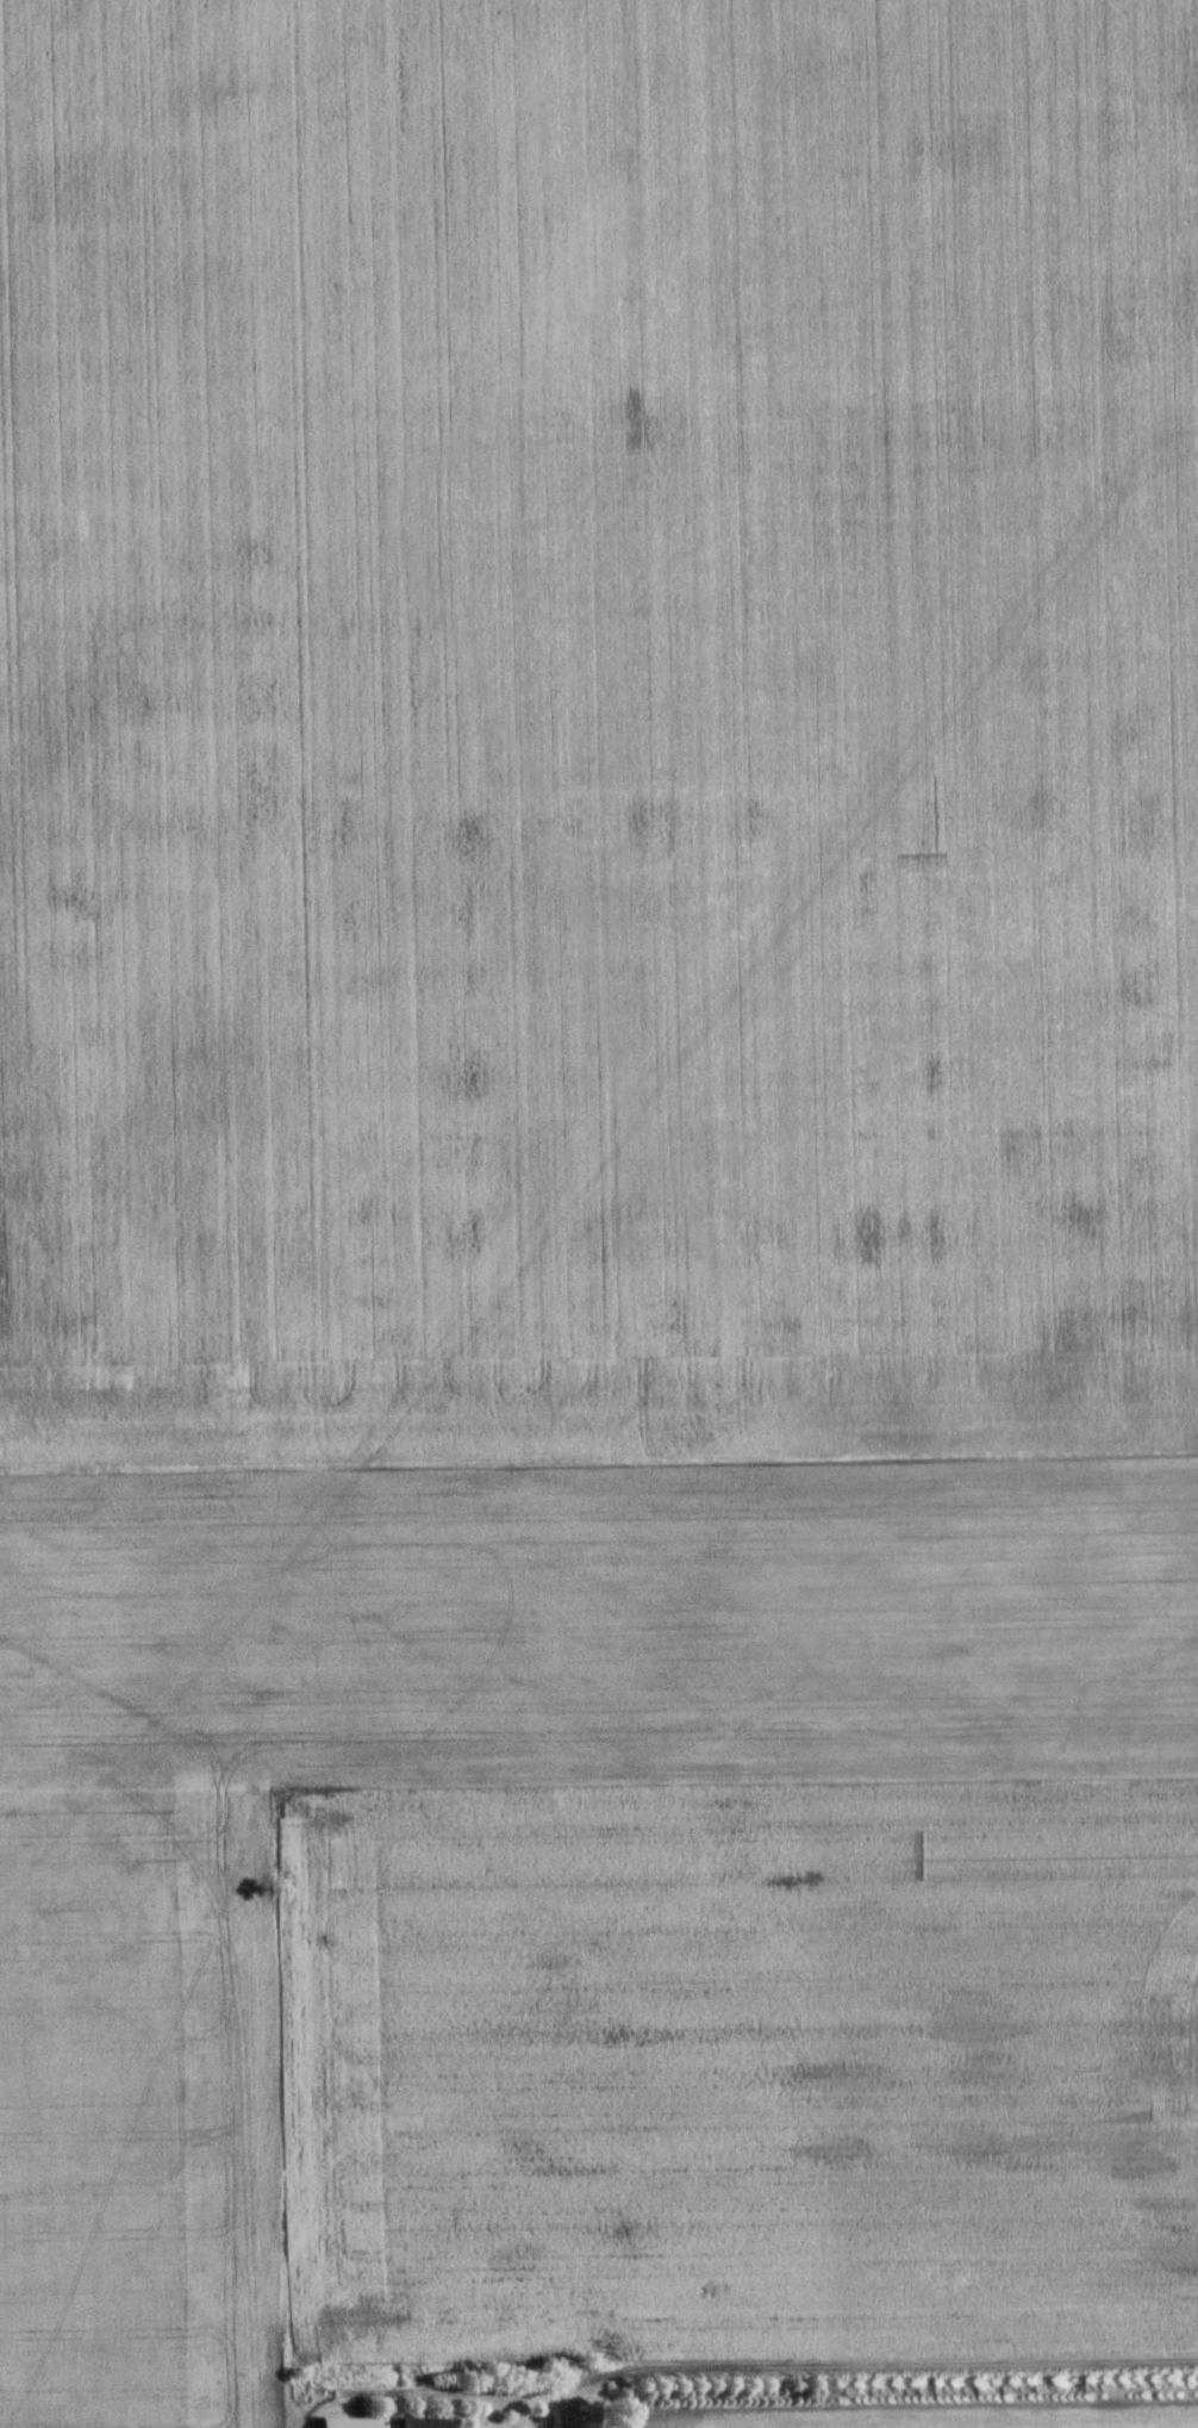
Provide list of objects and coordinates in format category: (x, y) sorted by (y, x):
crop: (597, 736)
crop: (589, 1919)
road: (793, 2368)
crop: (1047, 2422)
building: (420, 2423)

